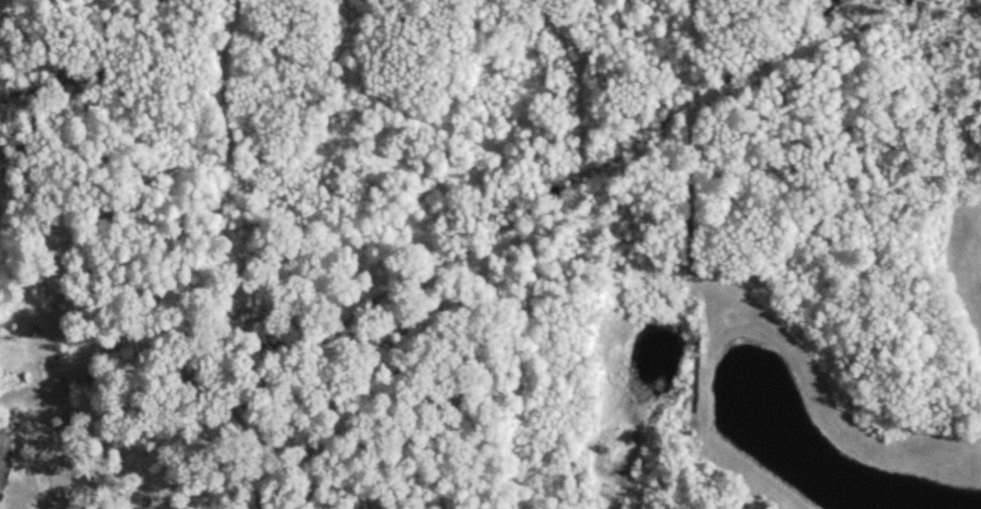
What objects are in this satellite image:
building: (10, 466)

